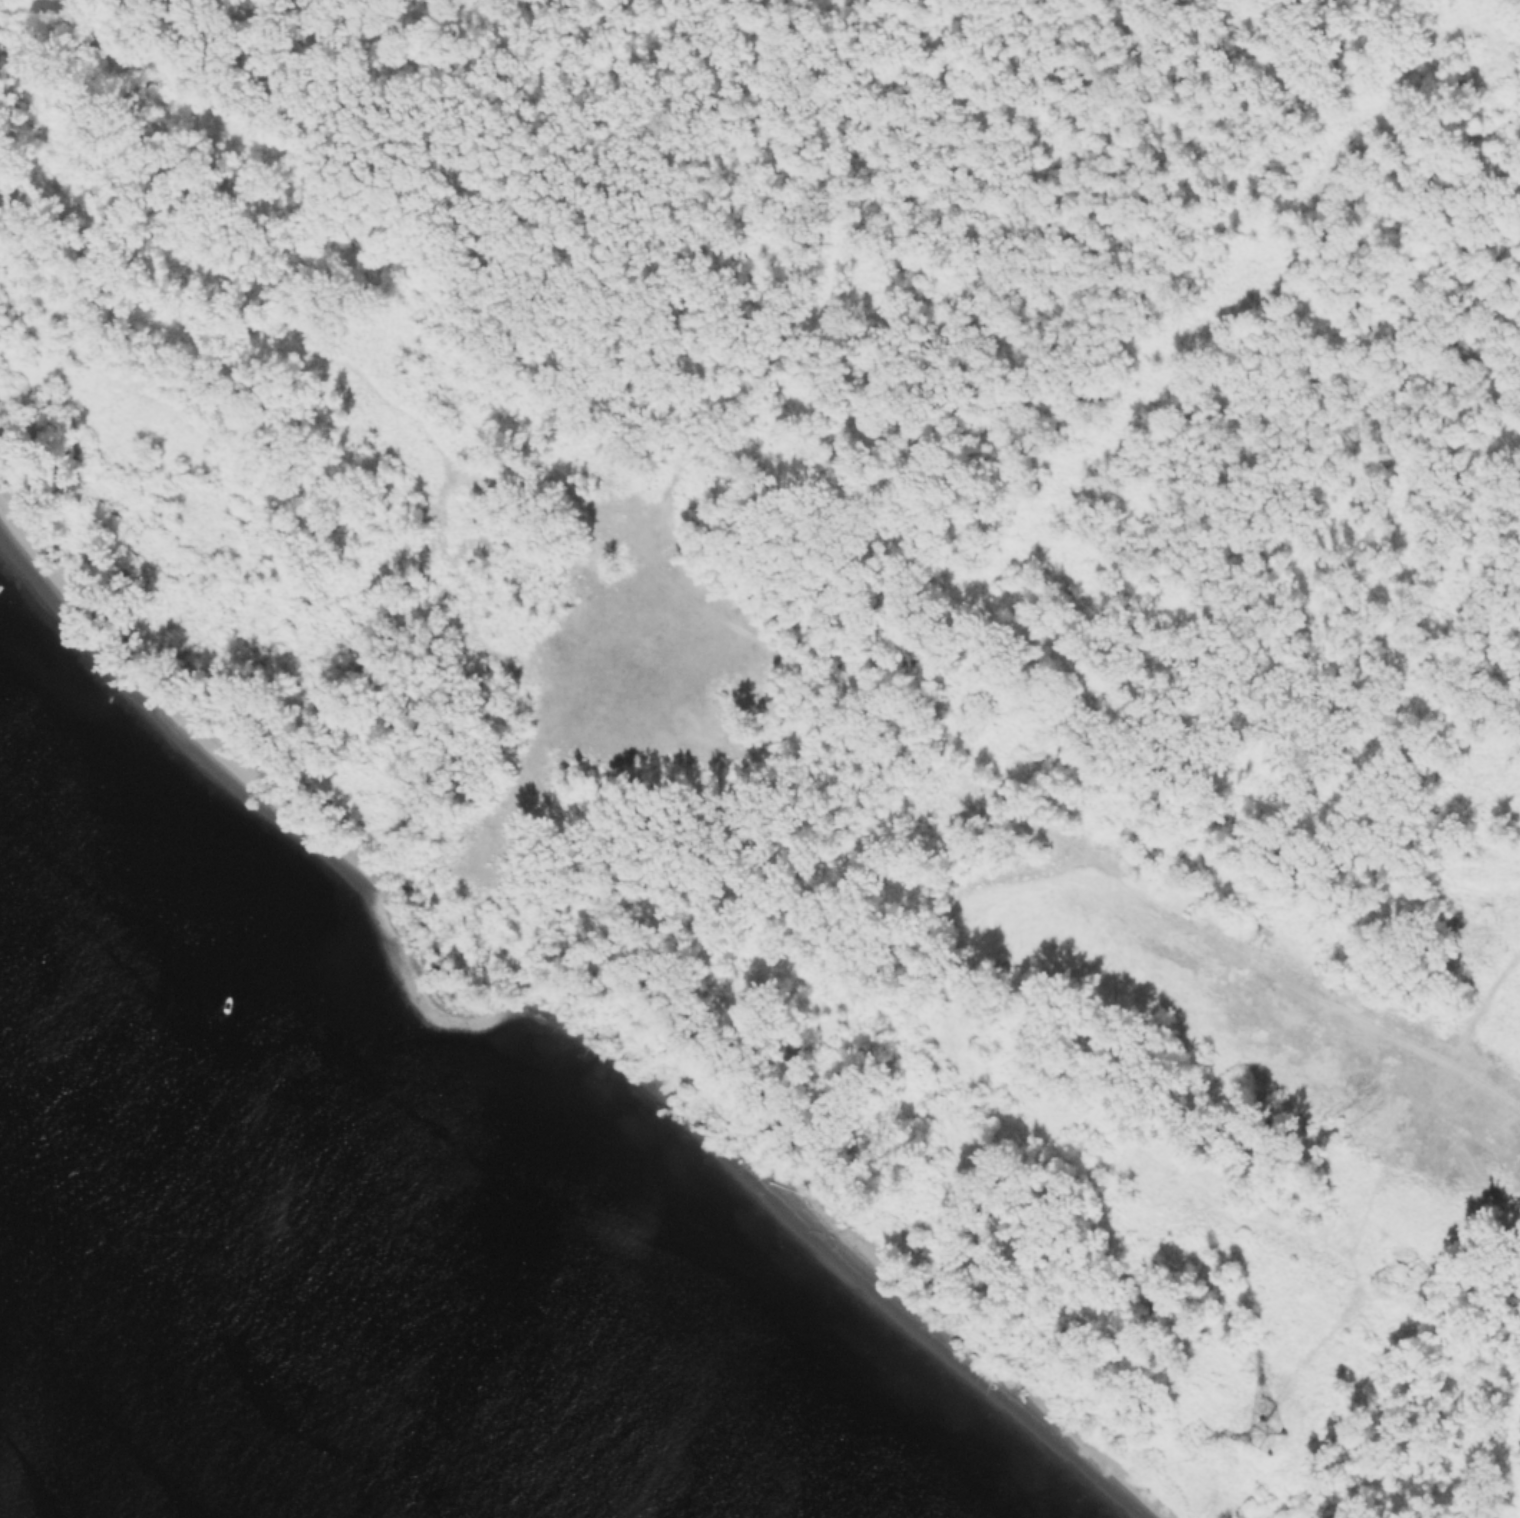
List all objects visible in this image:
road: (575, 744)
road: (961, 773)
road: (1359, 1248)
river: (258, 1299)
power tower: (1261, 1437)

